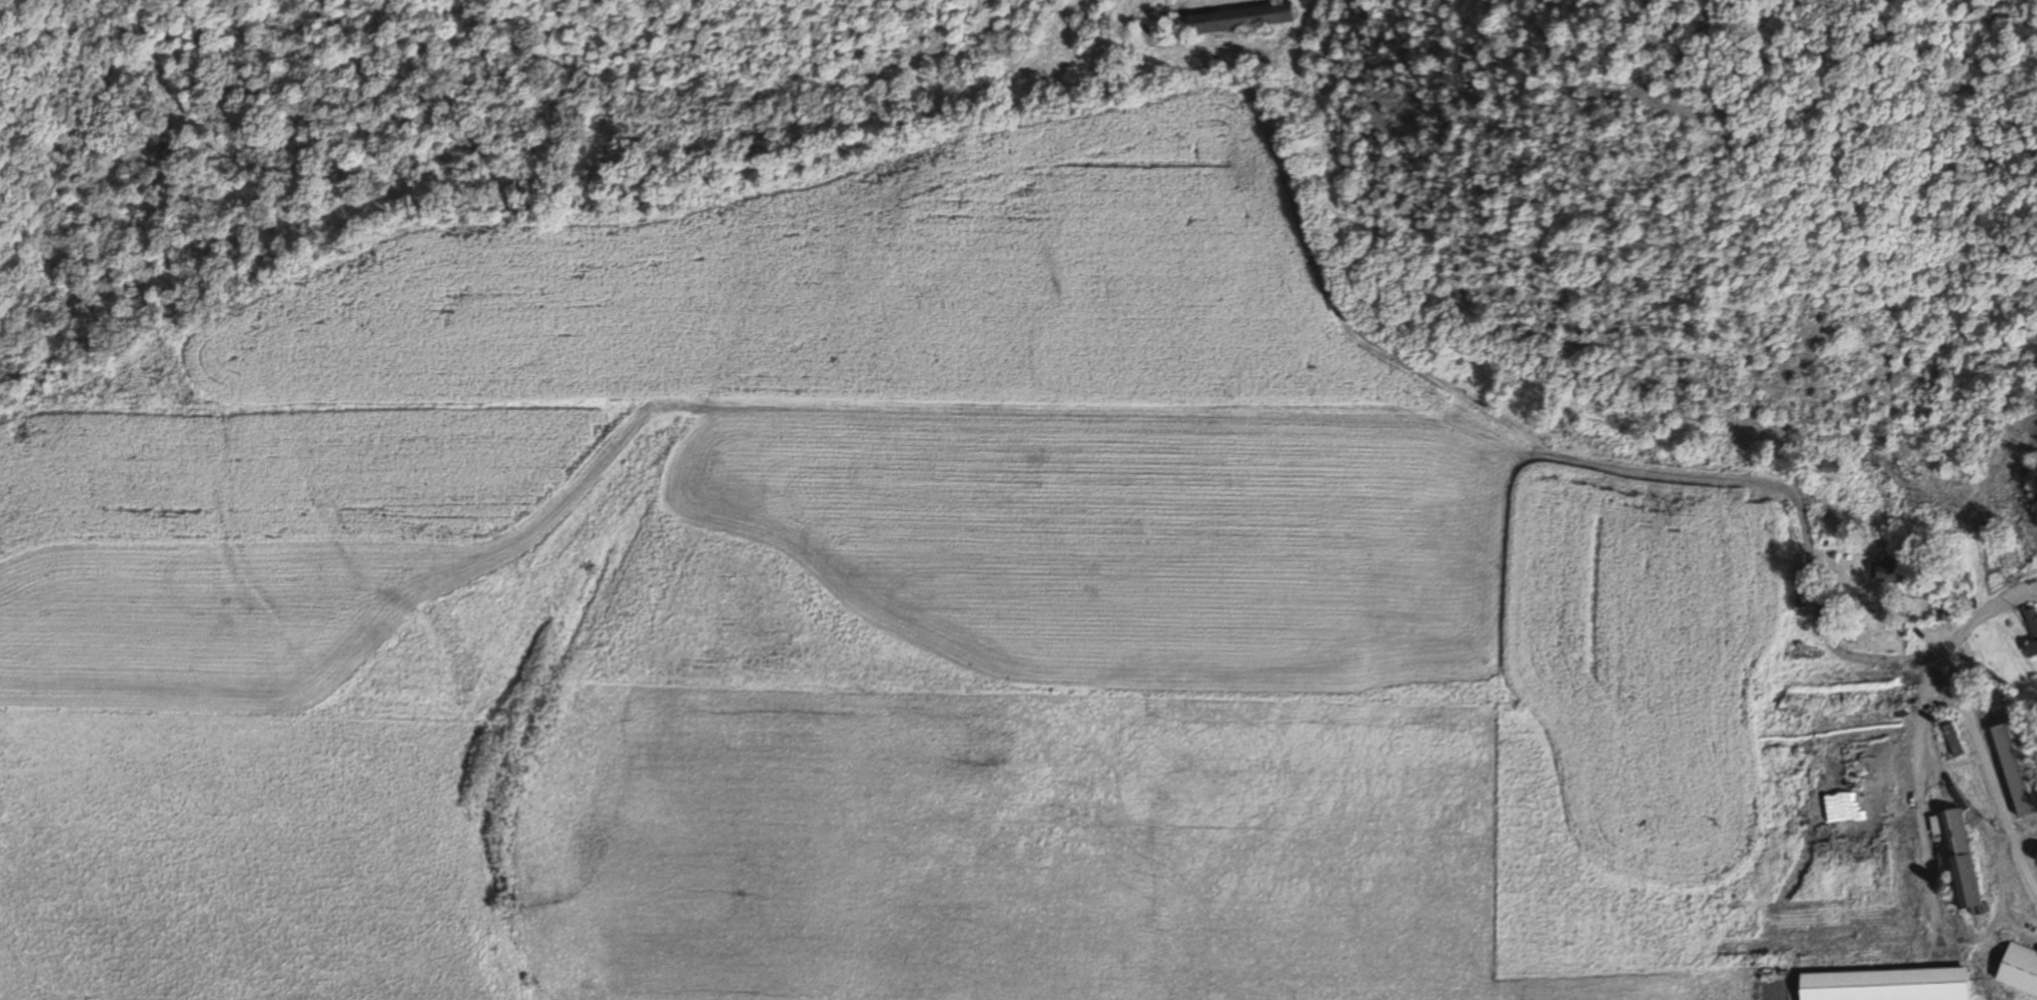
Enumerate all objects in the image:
building: (1260, 15)
building: (1201, 25)
building: (1886, 572)
building: (2031, 626)
building: (1951, 741)
building: (2016, 765)
building: (1955, 857)
building: (2017, 970)
building: (1880, 985)

